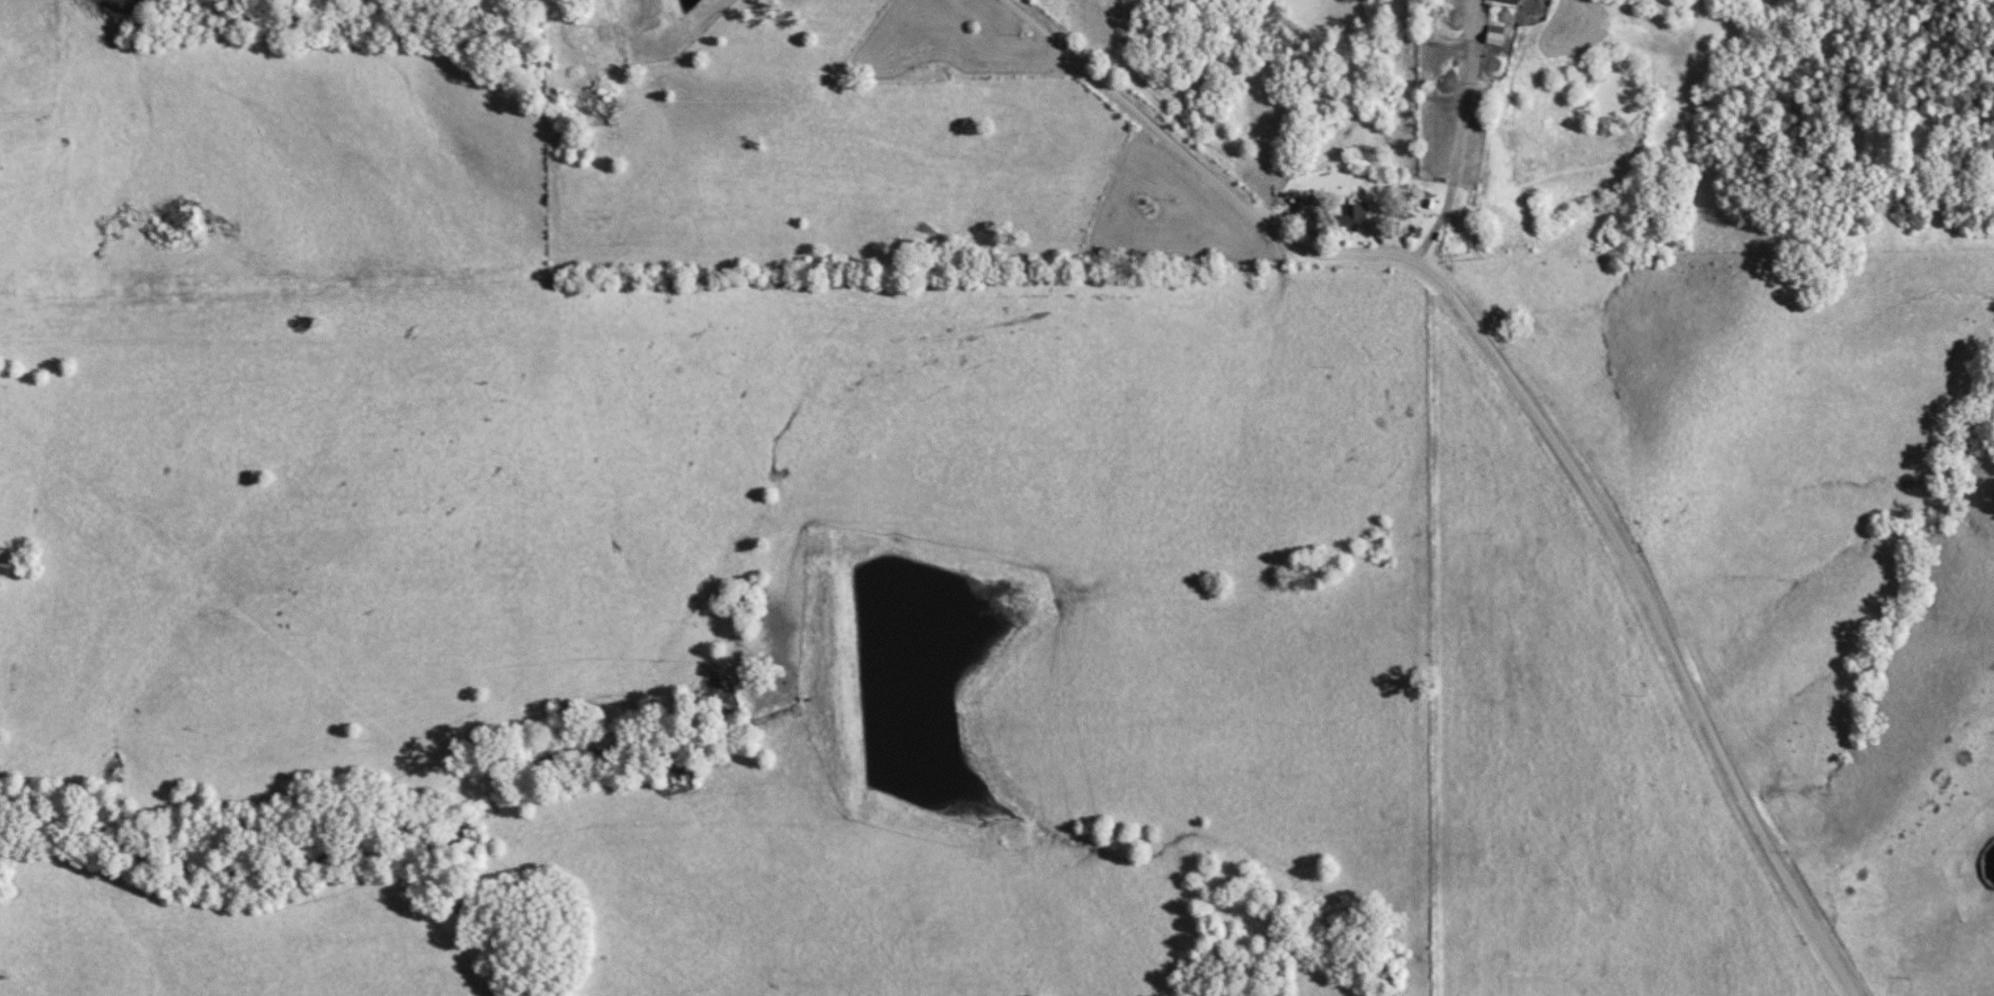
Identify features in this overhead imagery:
building: (1511, 1)
building: (909, 34)
building: (1496, 35)
road: (1465, 132)
building: (1144, 206)
building: (1354, 214)
road: (1533, 401)

